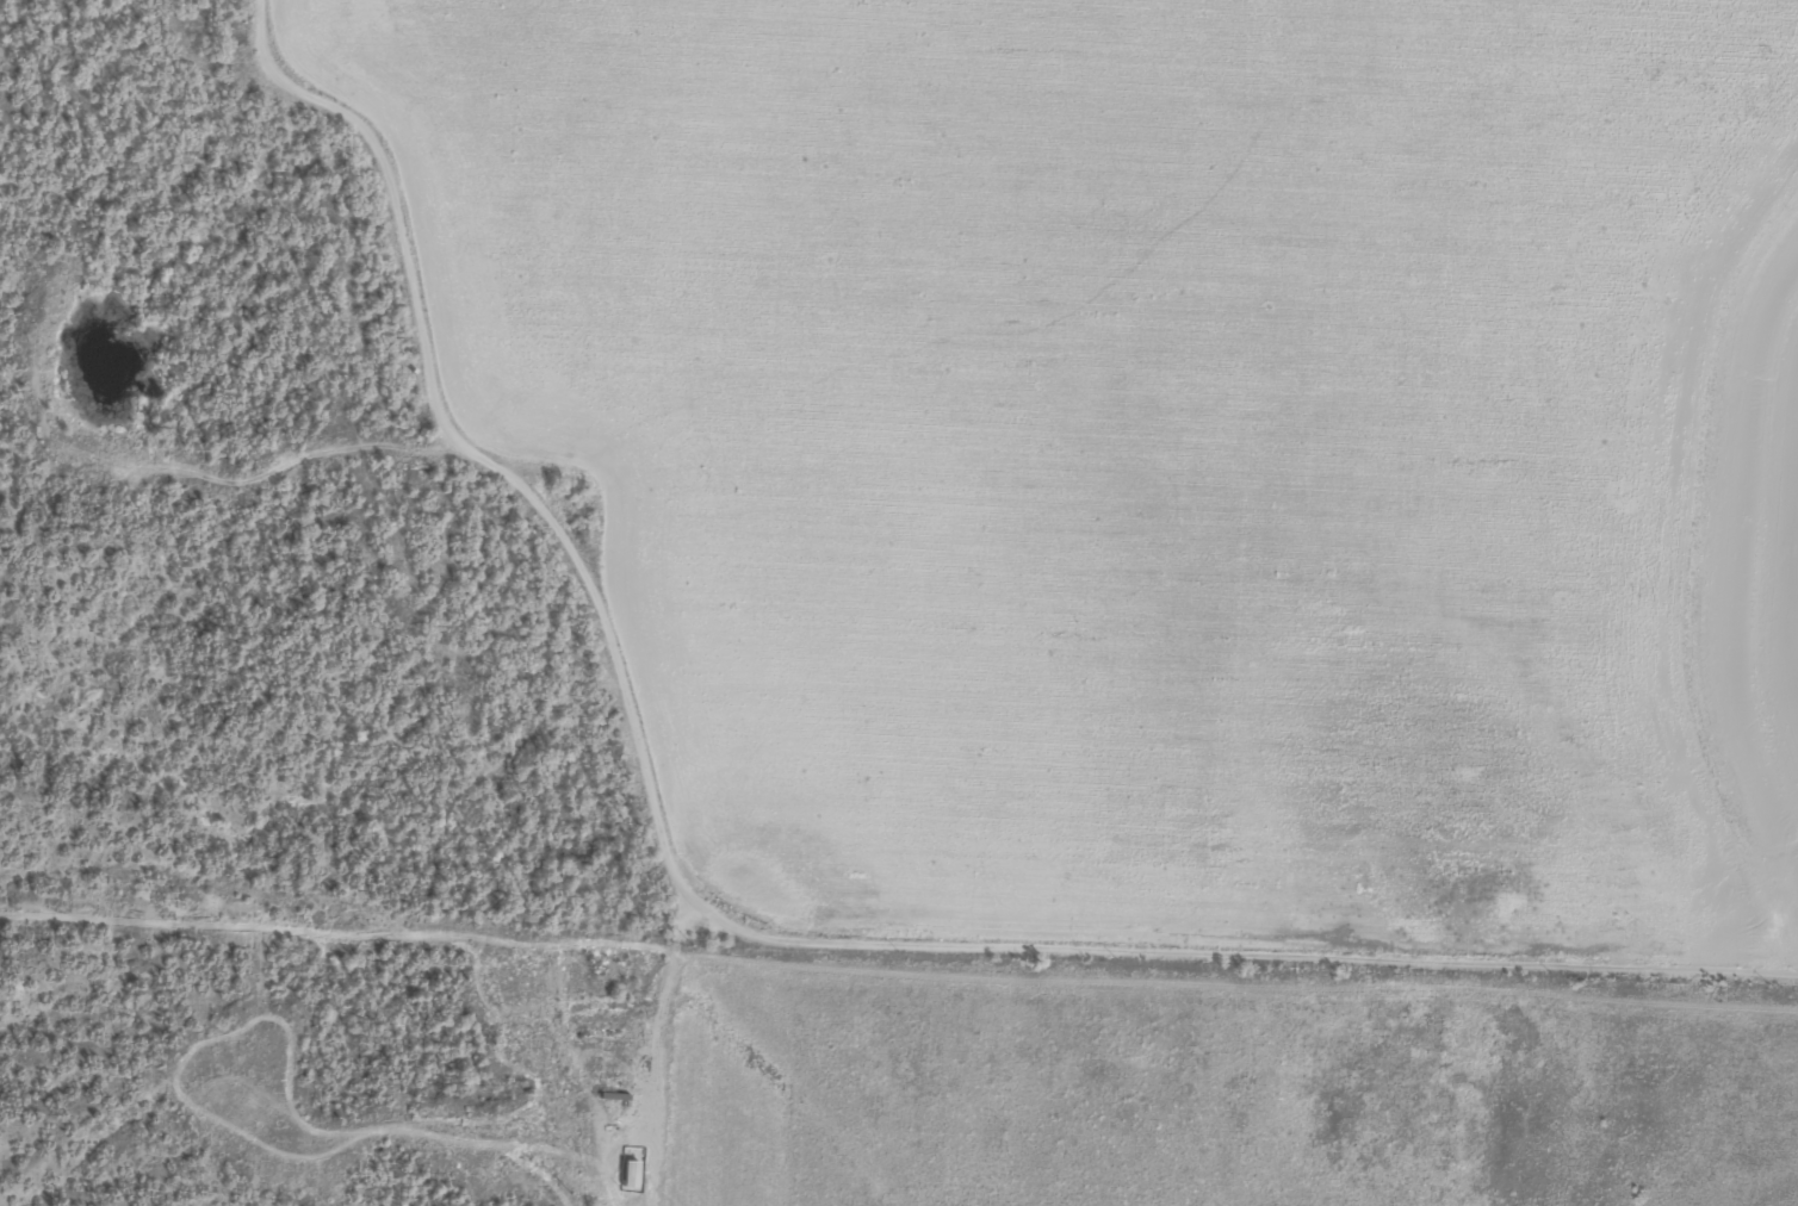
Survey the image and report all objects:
road: (736, 925)

